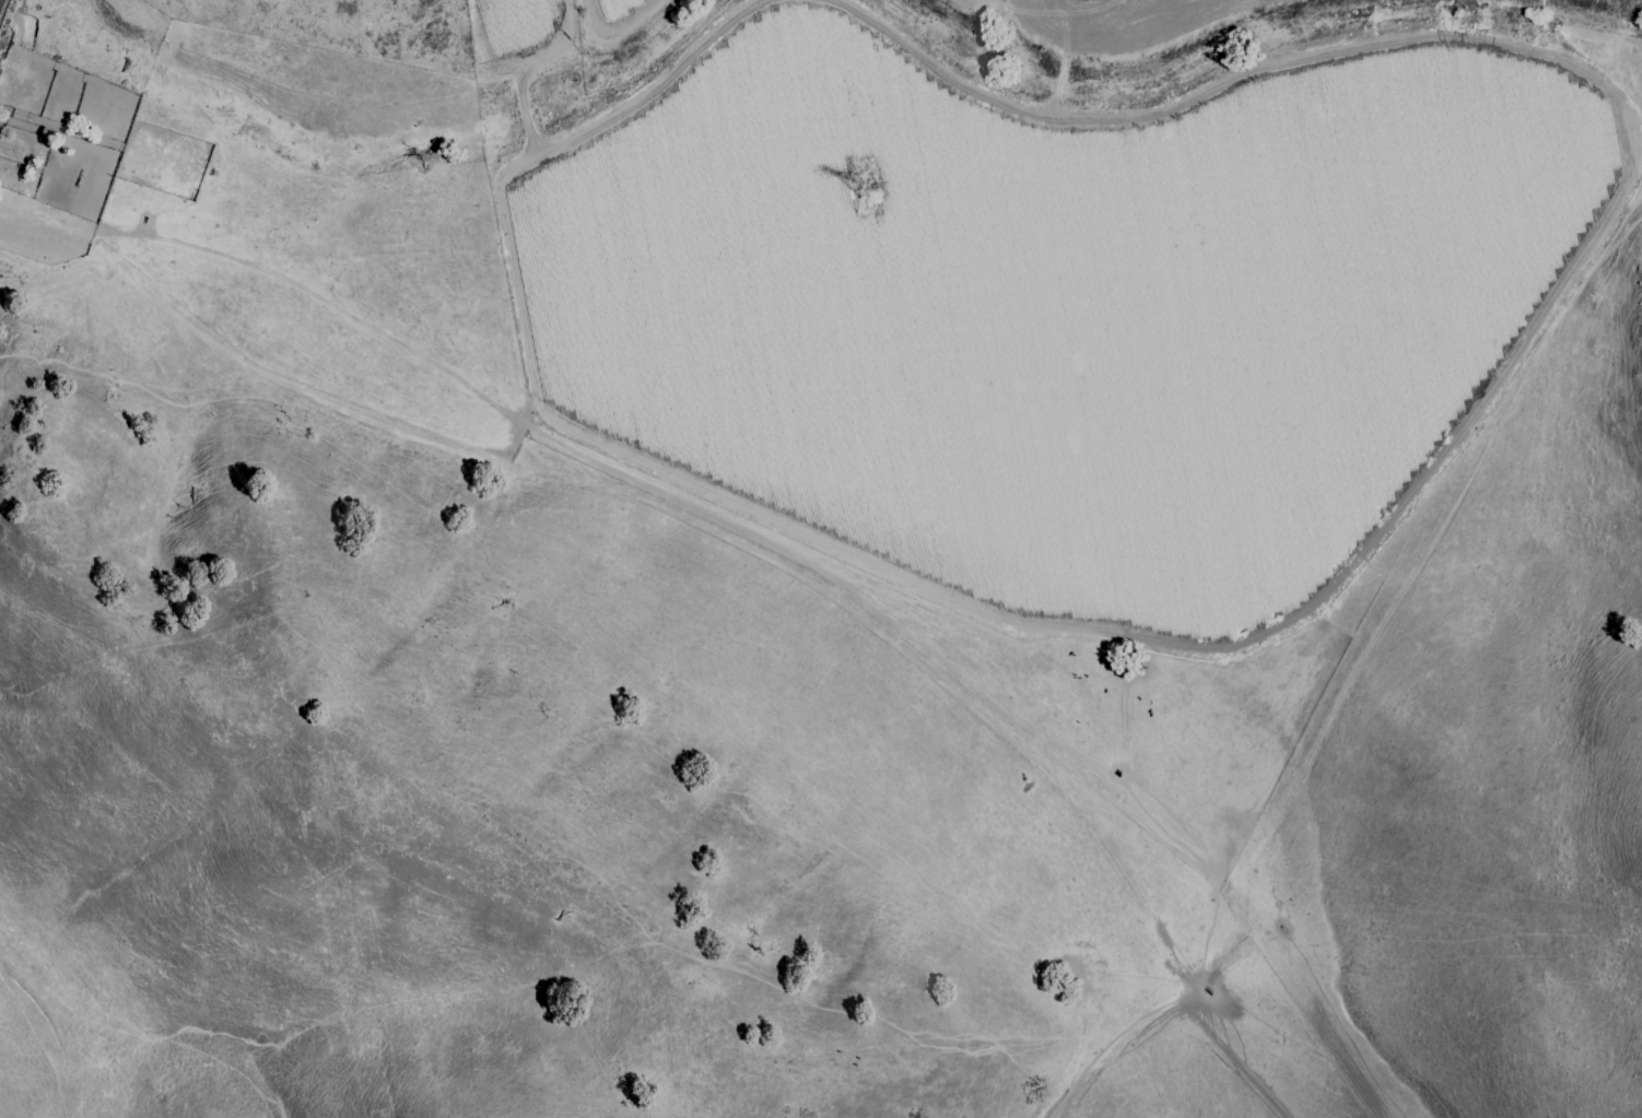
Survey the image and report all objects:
park: (1600, 36)
power tower: (849, 187)
park: (699, 705)
power tower: (1206, 982)
road: (1223, 1057)

